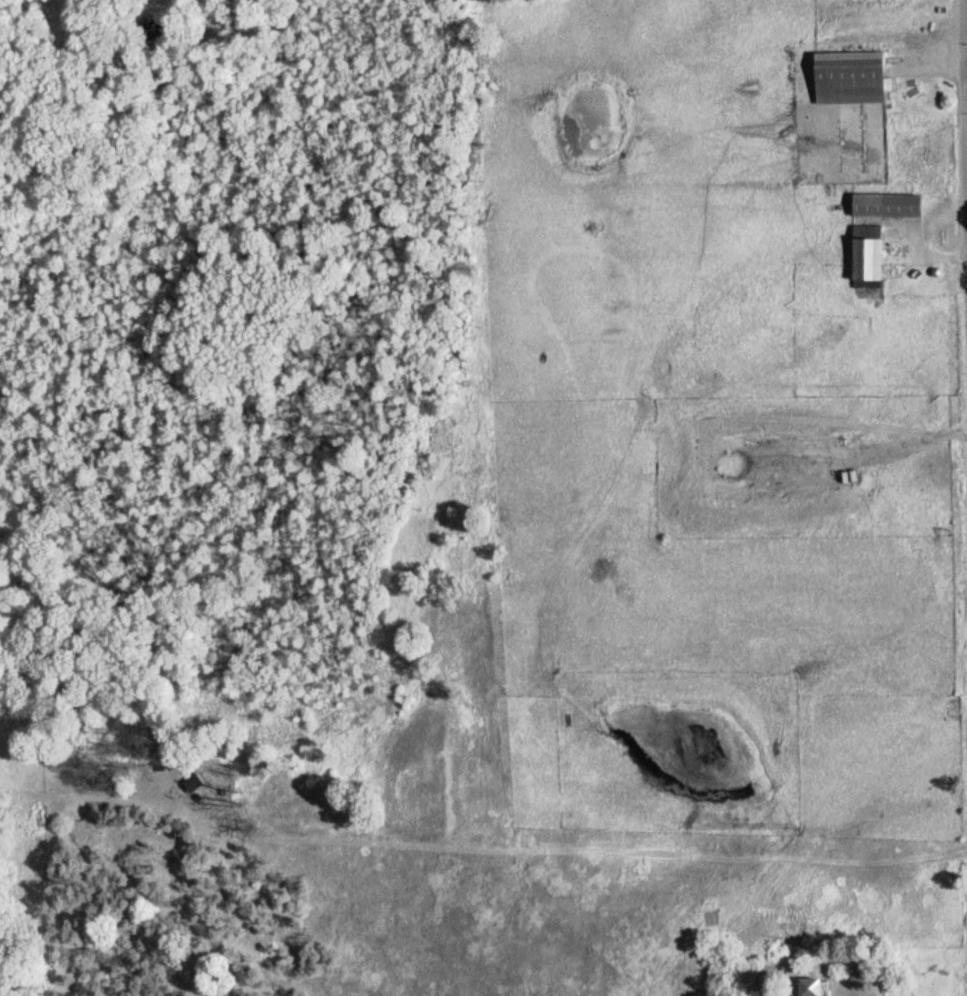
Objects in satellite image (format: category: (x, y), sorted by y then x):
building: (842, 76)
building: (880, 204)
building: (858, 258)
building: (806, 985)

